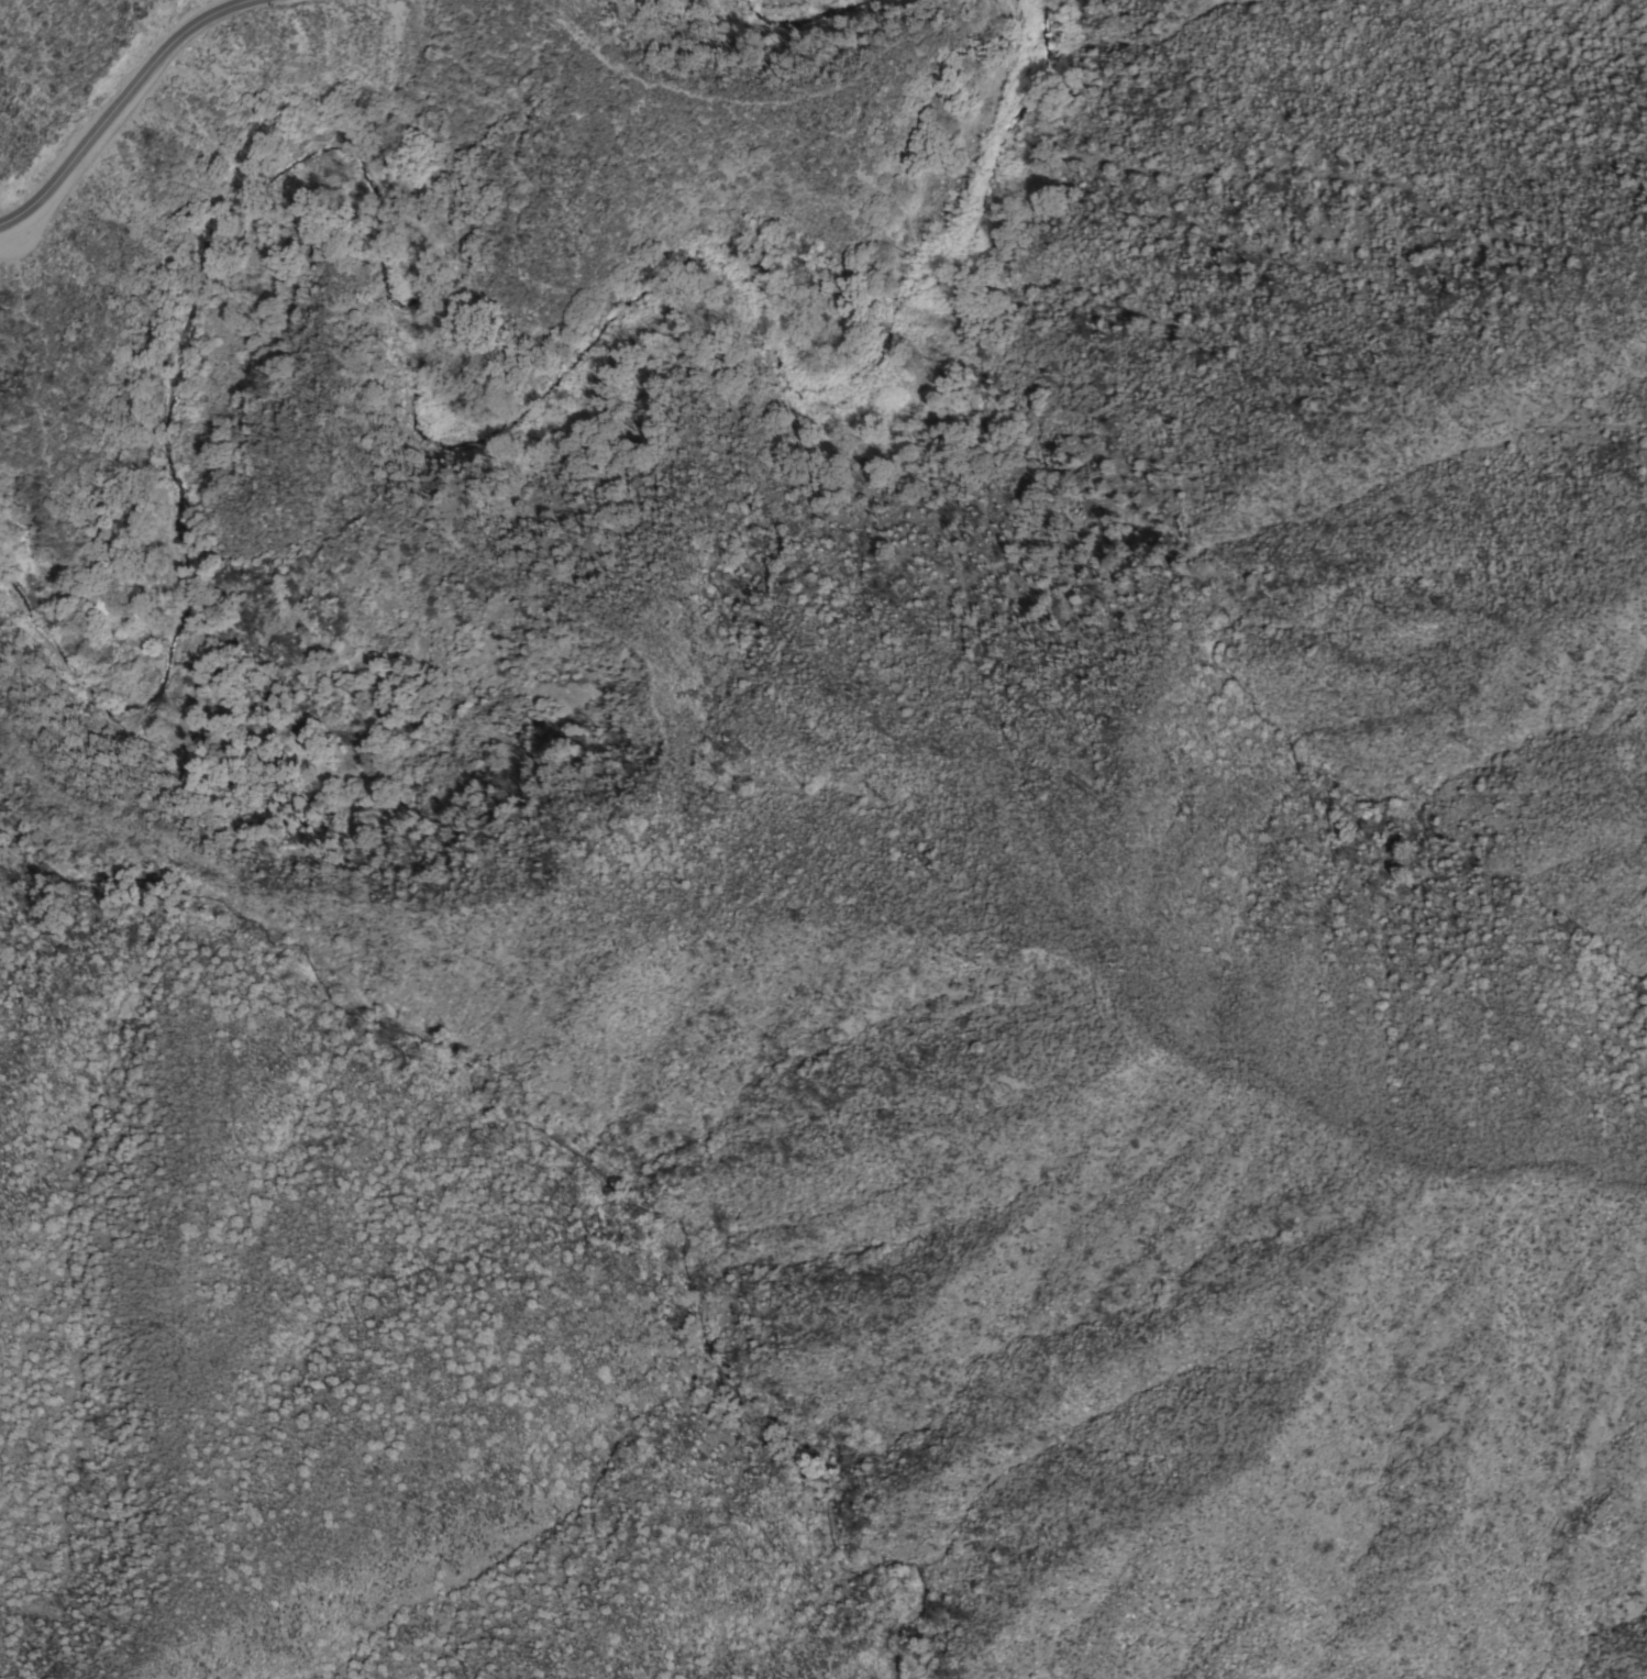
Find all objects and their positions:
road: (125, 100)

